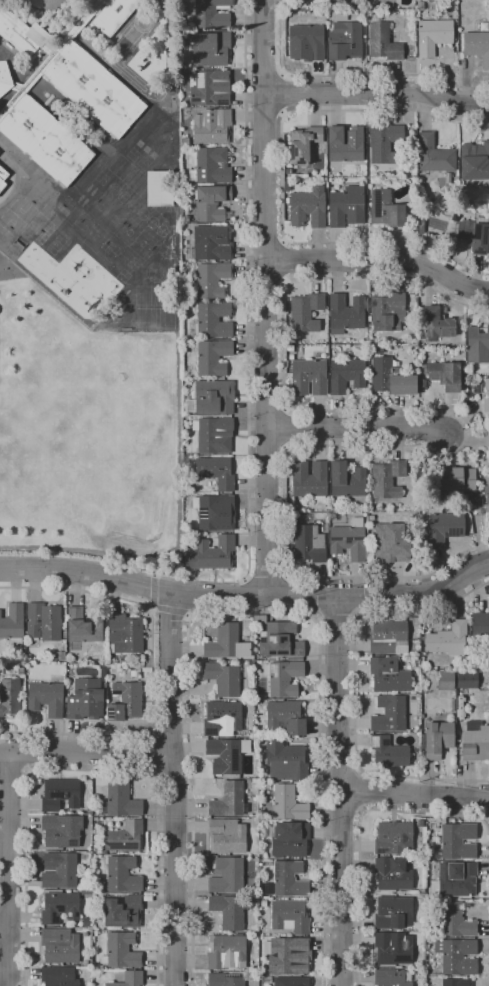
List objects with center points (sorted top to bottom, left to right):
building: (420, 6)
building: (210, 14)
building: (114, 15)
building: (18, 33)
building: (184, 34)
building: (434, 36)
building: (344, 41)
building: (306, 42)
building: (383, 42)
building: (477, 45)
building: (211, 49)
building: (49, 57)
building: (183, 73)
road: (350, 75)
building: (4, 78)
rooftop solar panel: (201, 80)
building: (211, 88)
building: (93, 89)
road: (377, 93)
road: (284, 94)
rooftop solar panel: (196, 100)
rooftop solar panel: (222, 102)
rooftop solar panel: (209, 115)
rooftop solar panel: (210, 121)
building: (212, 126)
building: (45, 140)
building: (185, 142)
building: (303, 144)
building: (345, 144)
building: (385, 144)
building: (434, 155)
building: (475, 161)
building: (211, 166)
building: (2, 178)
building: (449, 178)
road: (281, 179)
building: (157, 188)
building: (211, 202)
building: (346, 207)
building: (308, 208)
building: (385, 209)
park: (107, 213)
park: (17, 216)
park: (48, 220)
building: (420, 223)
park: (90, 233)
rooftop solar panel: (474, 233)
building: (473, 234)
rooftop solar panel: (481, 237)
park: (135, 238)
road: (282, 241)
building: (212, 243)
rooftop solar panel: (477, 251)
road: (280, 260)
road: (380, 260)
building: (210, 279)
road: (282, 280)
road: (265, 297)
building: (387, 311)
building: (305, 312)
building: (346, 314)
building: (213, 320)
building: (436, 324)
building: (477, 345)
building: (289, 348)
building: (212, 356)
building: (291, 357)
building: (346, 374)
building: (443, 375)
building: (308, 377)
building: (391, 378)
building: (486, 396)
building: (214, 397)
road: (248, 413)
road: (356, 428)
road: (469, 434)
building: (215, 435)
building: (488, 438)
building: (216, 472)
building: (387, 479)
building: (454, 479)
building: (310, 481)
building: (347, 481)
building: (487, 495)
building: (215, 512)
building: (443, 528)
road: (478, 530)
road: (180, 532)
rooftop solar panel: (453, 533)
rooftop solar panel: (353, 538)
rooftop solar panel: (336, 539)
building: (350, 541)
building: (391, 543)
building: (309, 544)
building: (211, 554)
road: (154, 575)
road: (267, 580)
road: (153, 590)
road: (246, 595)
road: (151, 606)
road: (169, 608)
road: (336, 610)
road: (188, 613)
road: (251, 613)
building: (43, 622)
building: (13, 625)
building: (481, 626)
building: (83, 628)
building: (125, 634)
building: (389, 638)
building: (279, 639)
building: (448, 639)
building: (226, 643)
building: (60, 656)
building: (121, 659)
building: (137, 660)
building: (251, 663)
road: (152, 670)
building: (21, 671)
building: (134, 673)
building: (103, 674)
building: (389, 675)
road: (170, 676)
building: (283, 678)
building: (223, 679)
building: (467, 680)
building: (445, 682)
road: (354, 688)
building: (10, 698)
building: (46, 698)
building: (85, 700)
building: (125, 701)
building: (389, 714)
building: (286, 717)
building: (223, 719)
road: (168, 734)
building: (438, 739)
rooftop solar panel: (372, 741)
building: (475, 741)
rooftop solar panel: (384, 743)
road: (149, 752)
building: (388, 752)
road: (29, 753)
road: (87, 753)
building: (226, 756)
rooftop solar panel: (233, 760)
building: (286, 761)
road: (341, 769)
road: (14, 772)
road: (90, 772)
road: (173, 777)
building: (253, 781)
road: (341, 790)
road: (362, 790)
road: (415, 792)
building: (60, 795)
building: (229, 800)
building: (120, 801)
building: (288, 803)
rooftop solar panel: (243, 807)
building: (89, 809)
road: (343, 811)
road: (488, 815)
building: (442, 819)
road: (488, 819)
building: (61, 830)
road: (359, 834)
building: (125, 836)
building: (226, 836)
building: (394, 838)
building: (290, 839)
building: (455, 842)
rooftop solar panel: (71, 844)
rooftop solar panel: (123, 847)
building: (99, 851)
road: (8, 868)
building: (59, 871)
road: (175, 871)
building: (393, 874)
building: (121, 875)
building: (227, 876)
building: (289, 879)
building: (457, 879)
building: (421, 889)
building: (85, 892)
building: (264, 903)
building: (59, 907)
rooftop solar panel: (57, 909)
building: (228, 911)
building: (123, 912)
road: (12, 913)
building: (395, 913)
rooftop solar panel: (66, 915)
rooftop solar panel: (74, 915)
building: (290, 916)
rooftop solar panel: (52, 918)
building: (454, 921)
road: (4, 930)
building: (60, 946)
road: (12, 947)
building: (393, 948)
building: (122, 950)
building: (226, 952)
building: (289, 955)
building: (457, 956)
building: (59, 977)
building: (392, 978)
building: (129, 979)
building: (224, 980)
building: (266, 980)
building: (291, 981)
building: (456, 982)

